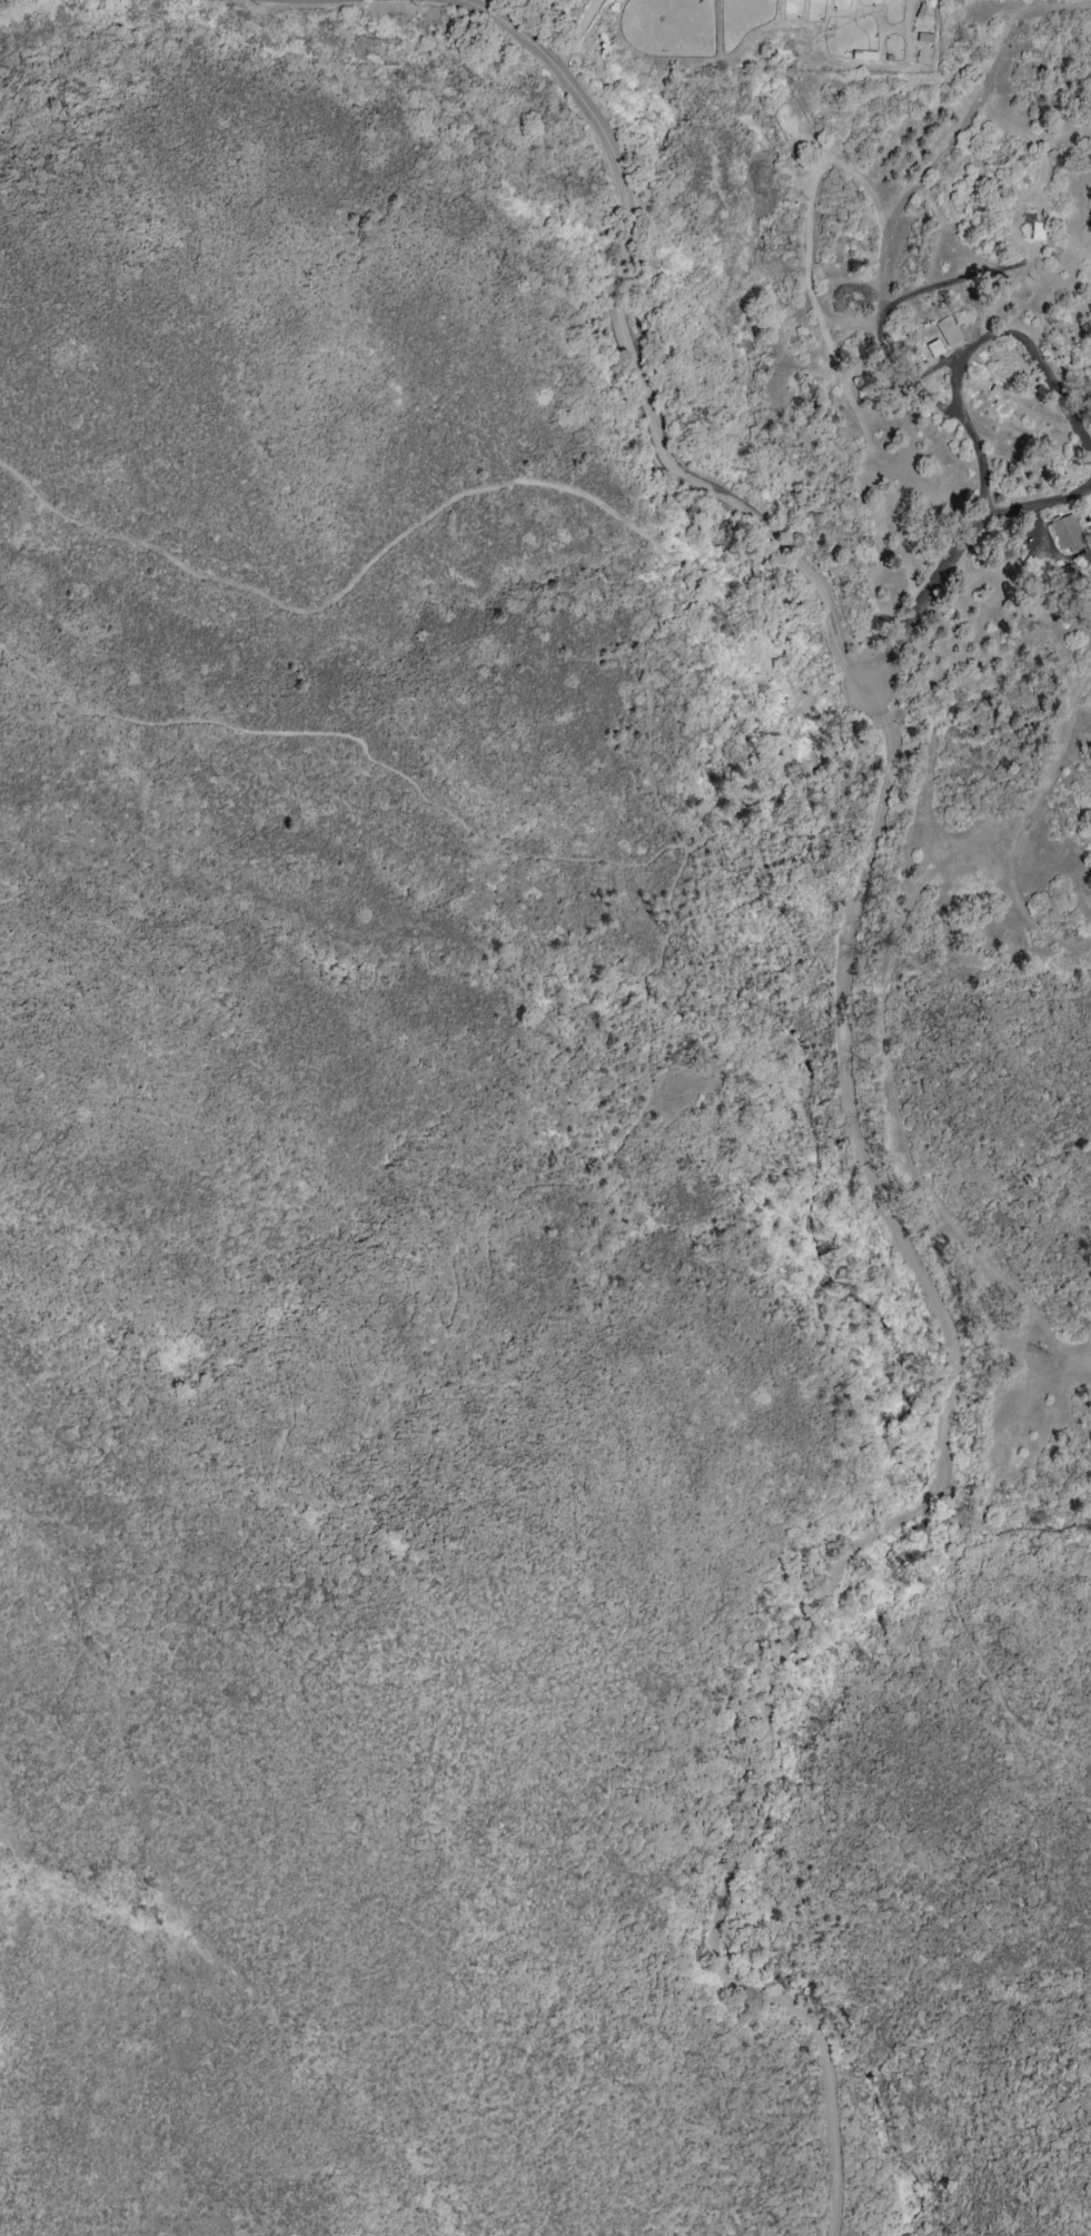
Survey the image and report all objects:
road: (578, 32)
road: (889, 230)
building: (1037, 231)
building: (1089, 307)
building: (948, 330)
building: (934, 348)
road: (973, 348)
road: (633, 369)
building: (1067, 533)
road: (950, 556)
road: (340, 593)
road: (773, 640)
road: (649, 699)
road: (881, 990)
road: (518, 1215)
road: (1070, 1349)
road: (899, 1517)
road: (948, 1572)

